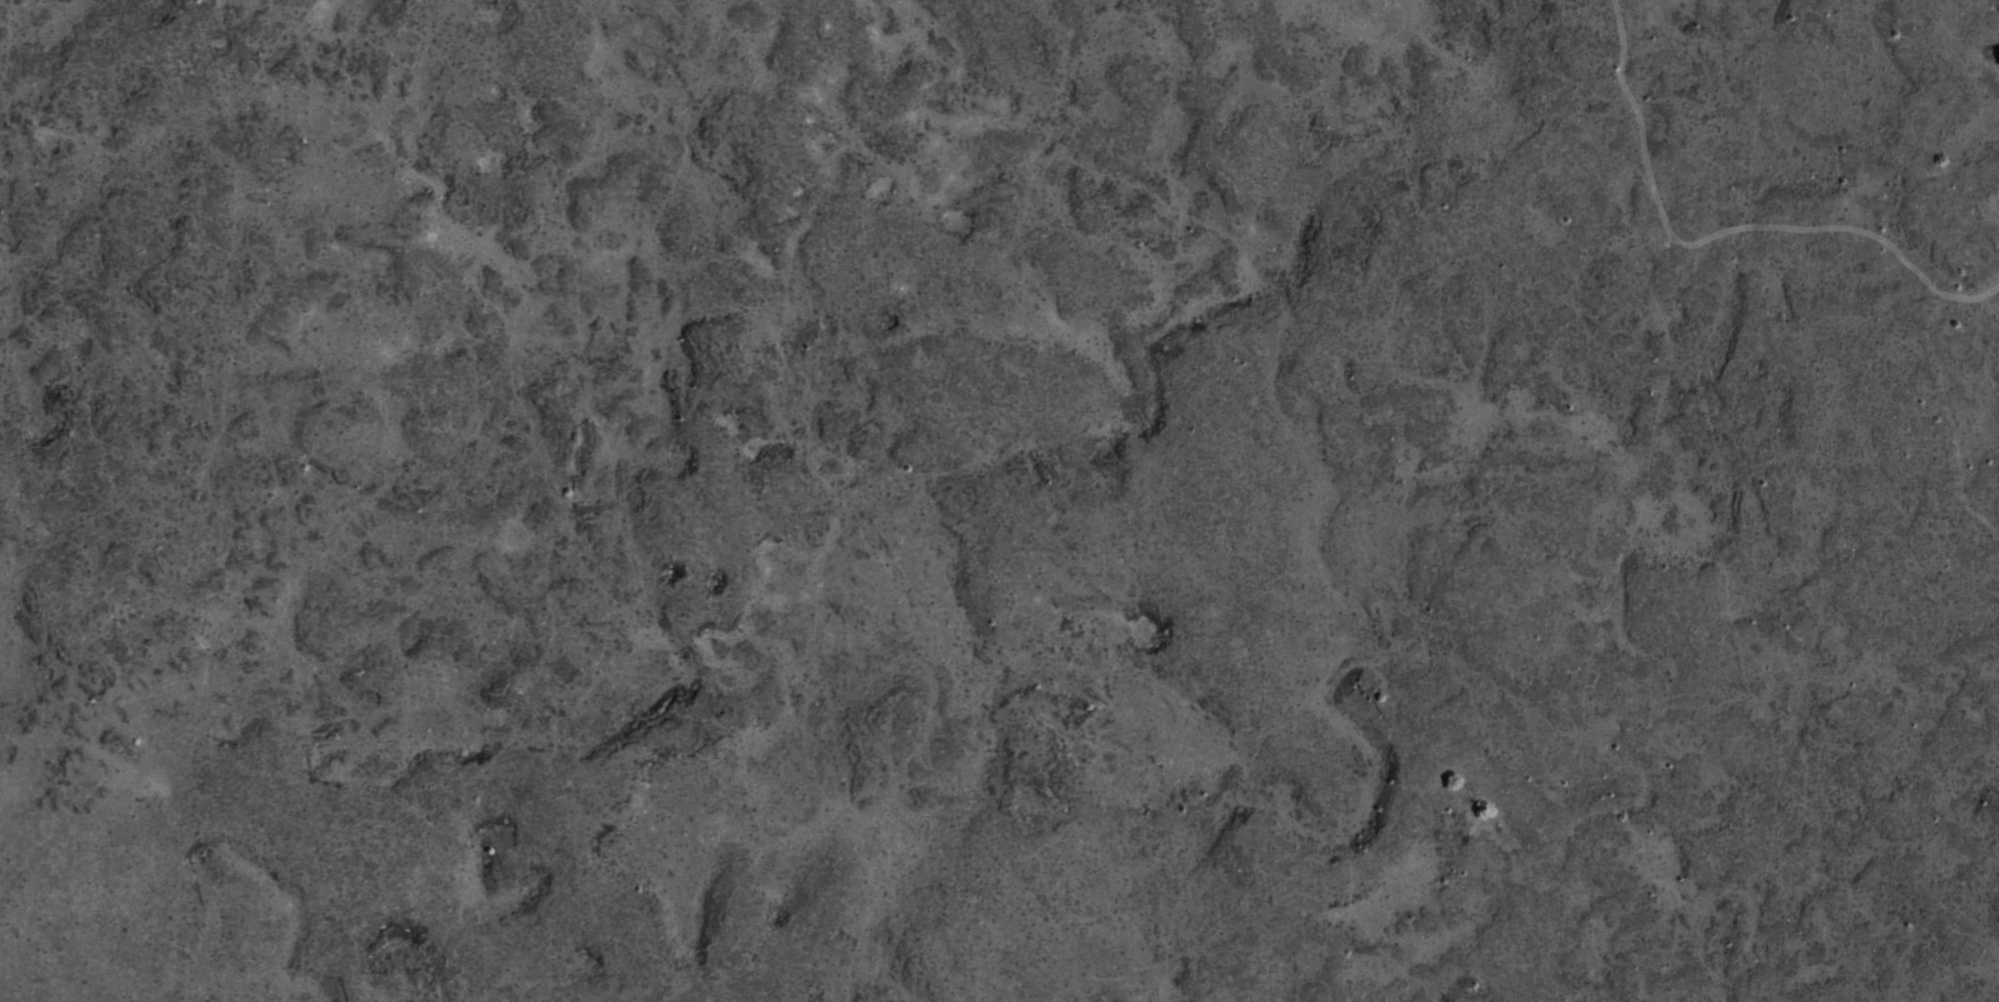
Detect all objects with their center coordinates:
road: (1820, 233)

